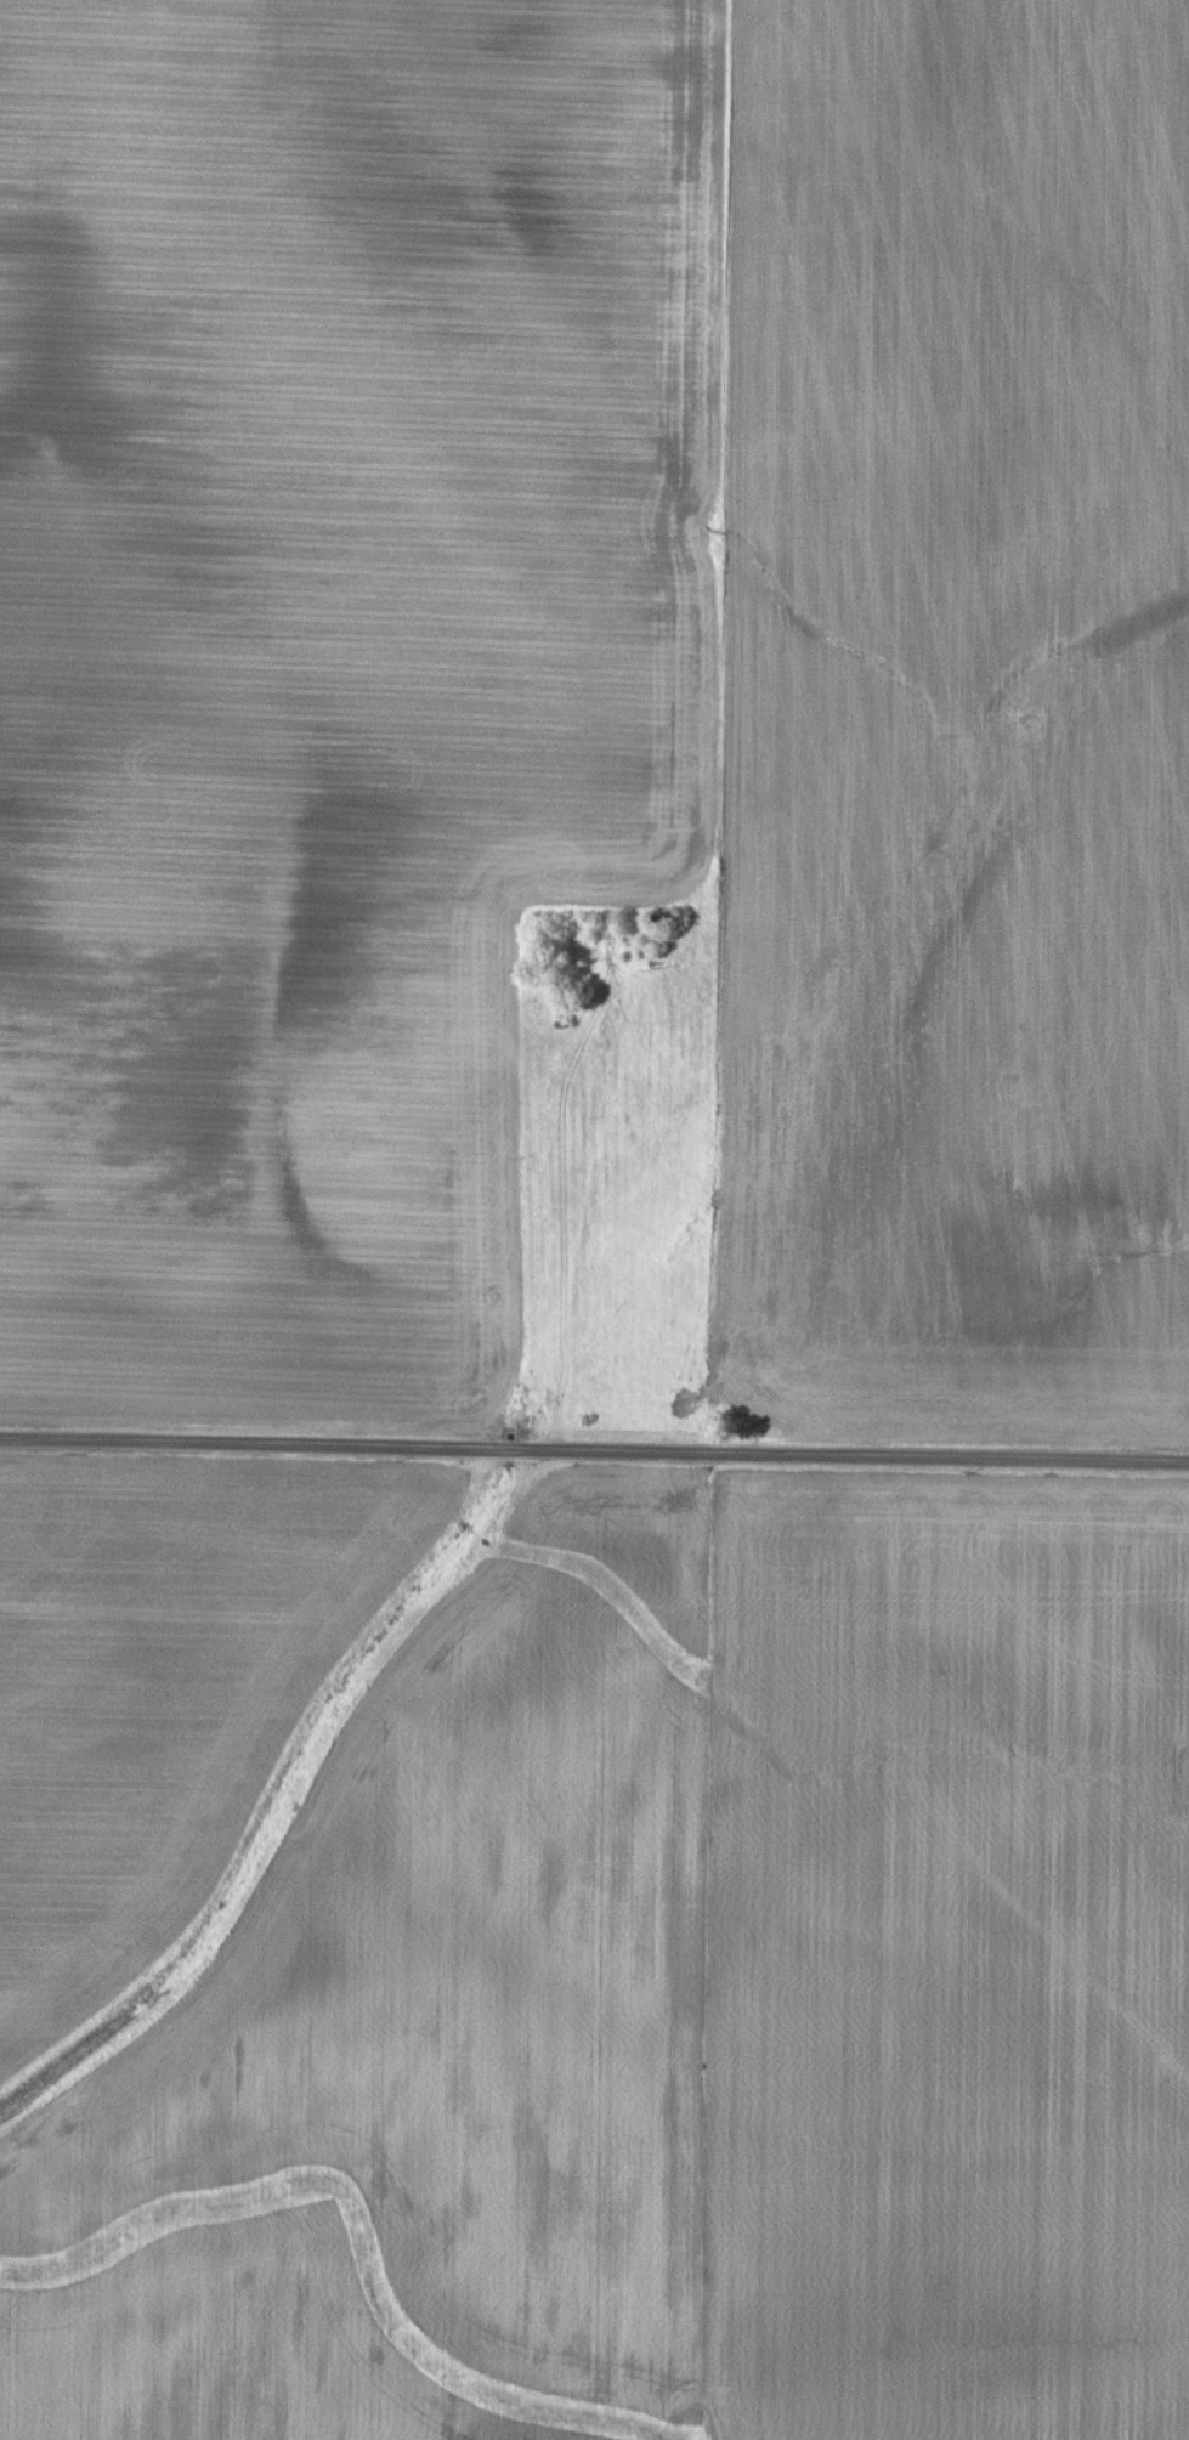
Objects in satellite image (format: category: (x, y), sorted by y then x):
road: (594, 1453)

